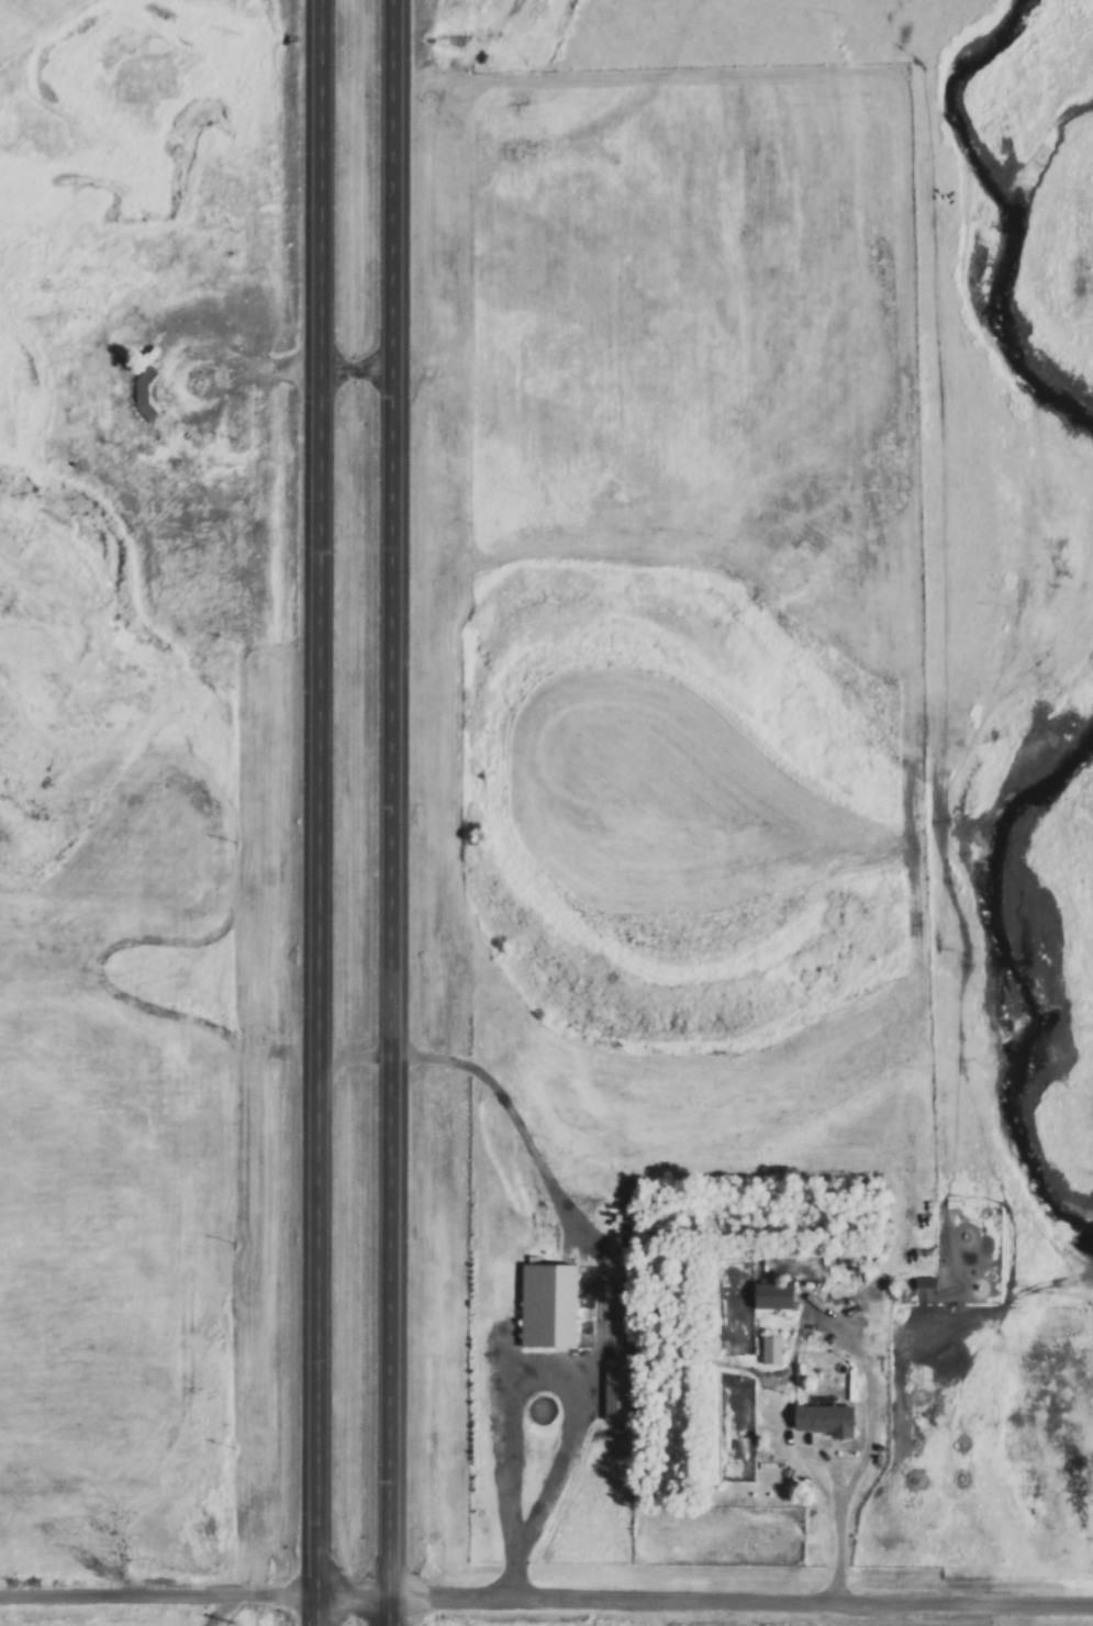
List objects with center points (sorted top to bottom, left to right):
river: (967, 219)
road: (186, 363)
road: (335, 367)
road: (322, 812)
road: (397, 812)
river: (1013, 962)
road: (537, 1146)
building: (769, 1295)
building: (547, 1304)
building: (772, 1348)
road: (570, 1373)
building: (819, 1418)
road: (845, 1515)
road: (546, 1599)

